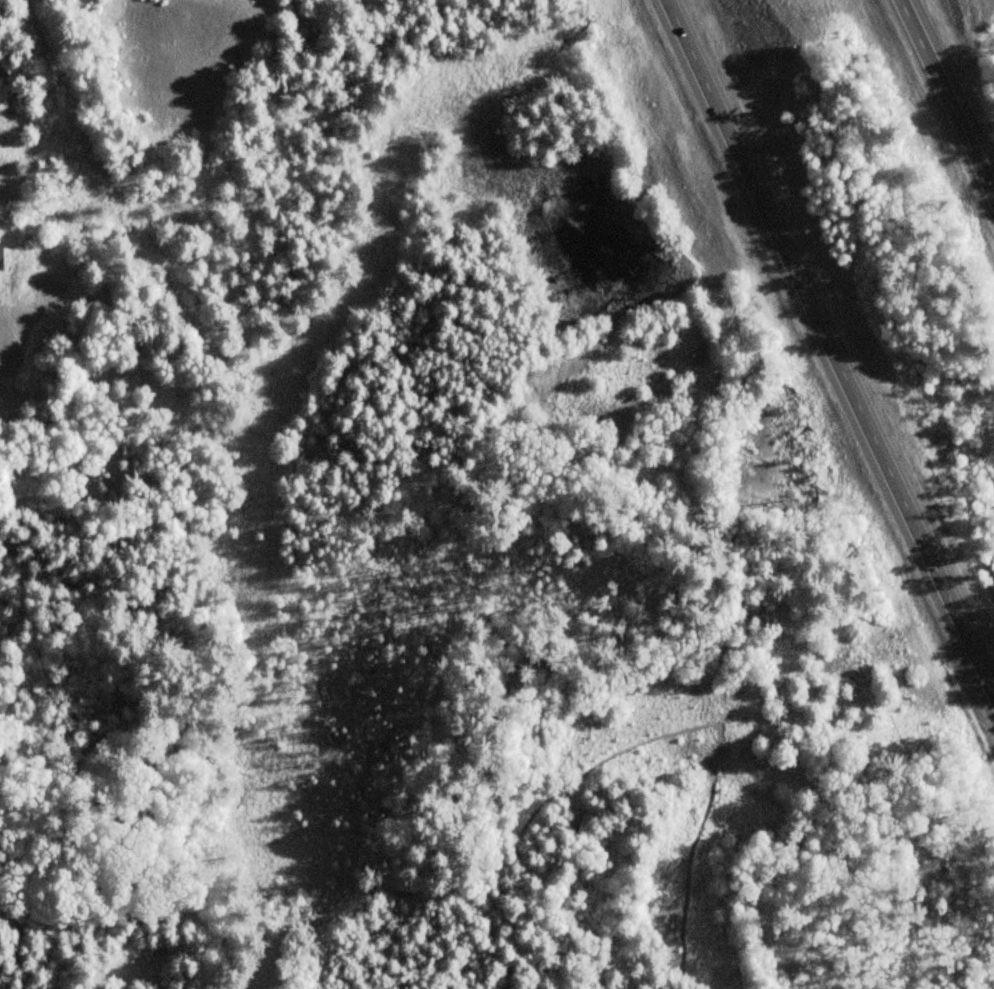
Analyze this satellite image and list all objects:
road: (952, 88)
road: (833, 338)

